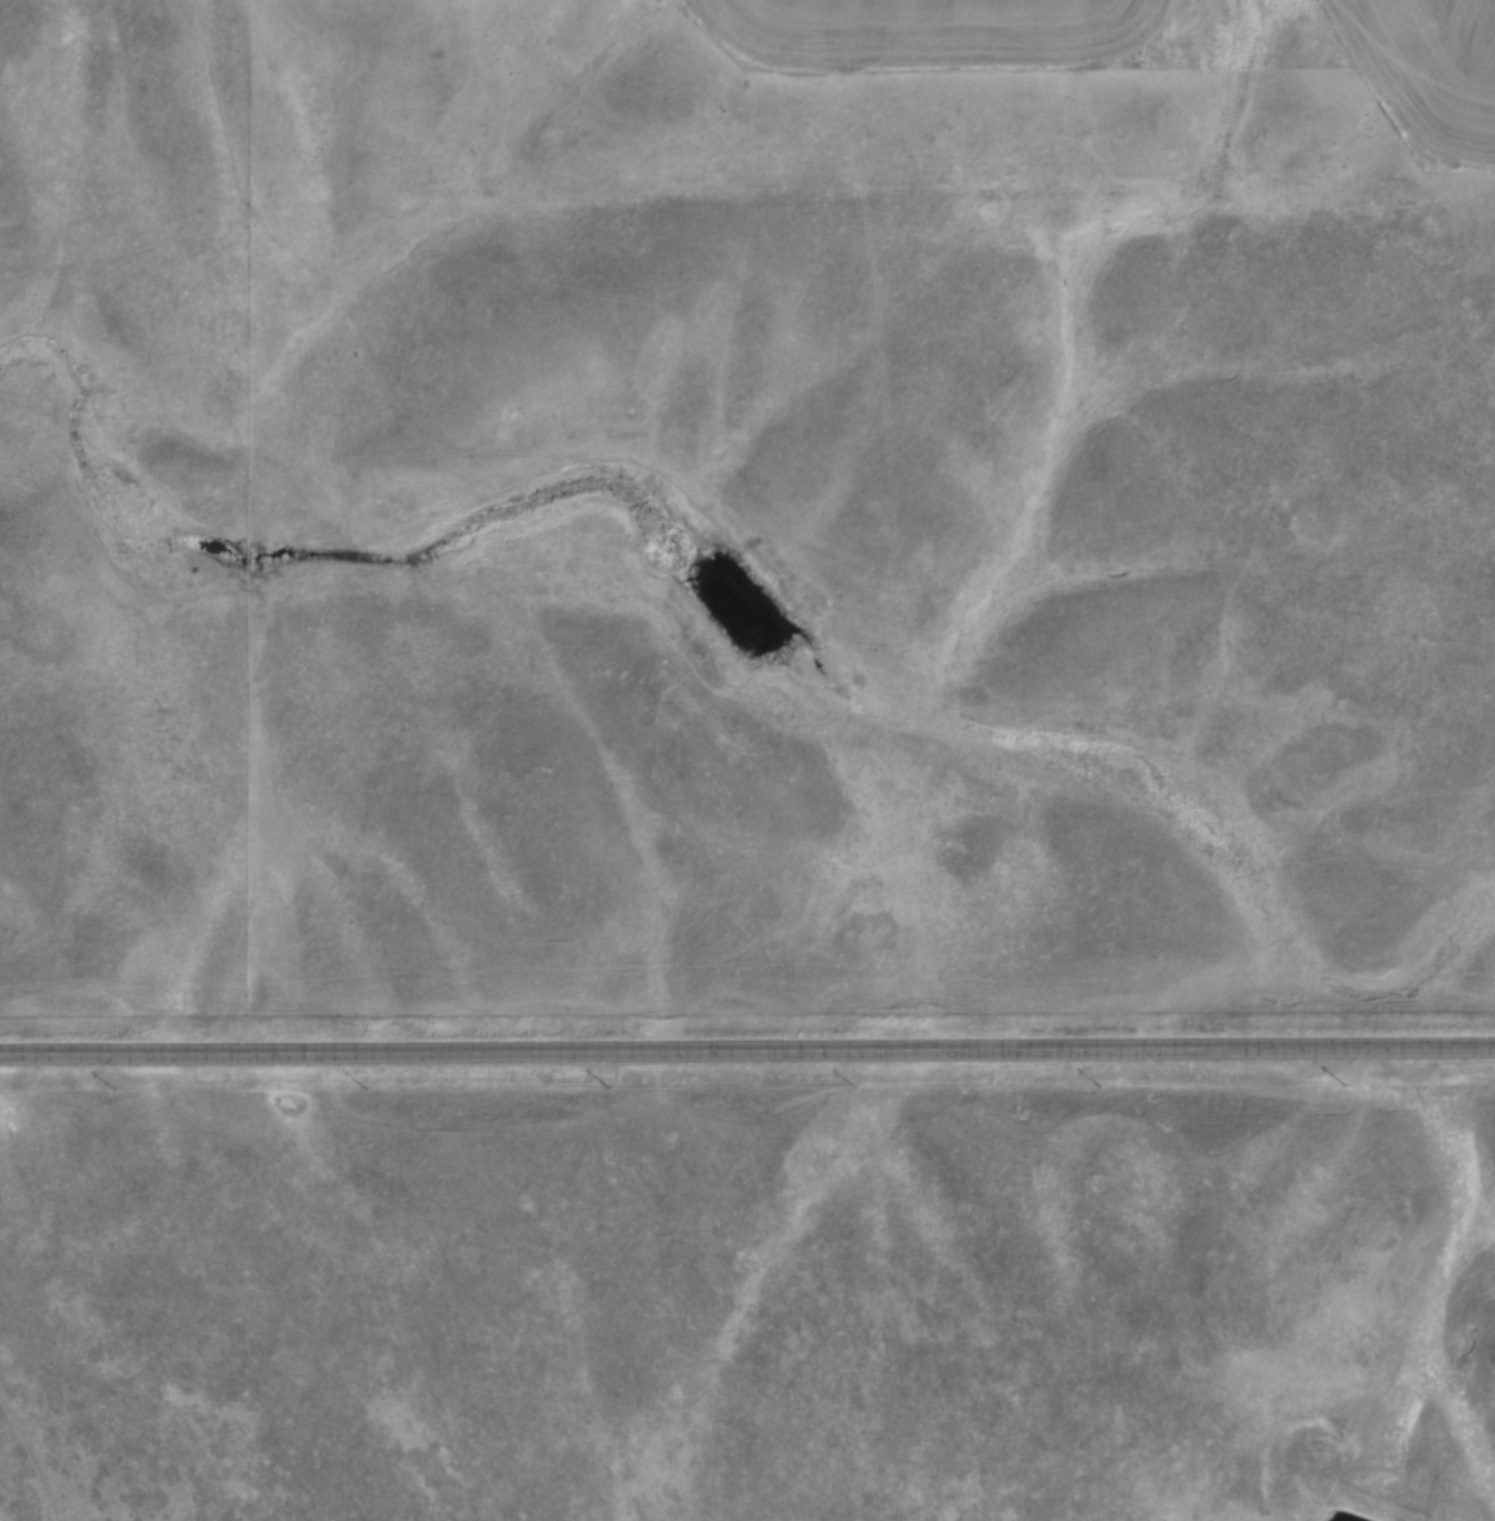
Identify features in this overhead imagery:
road: (747, 1047)

